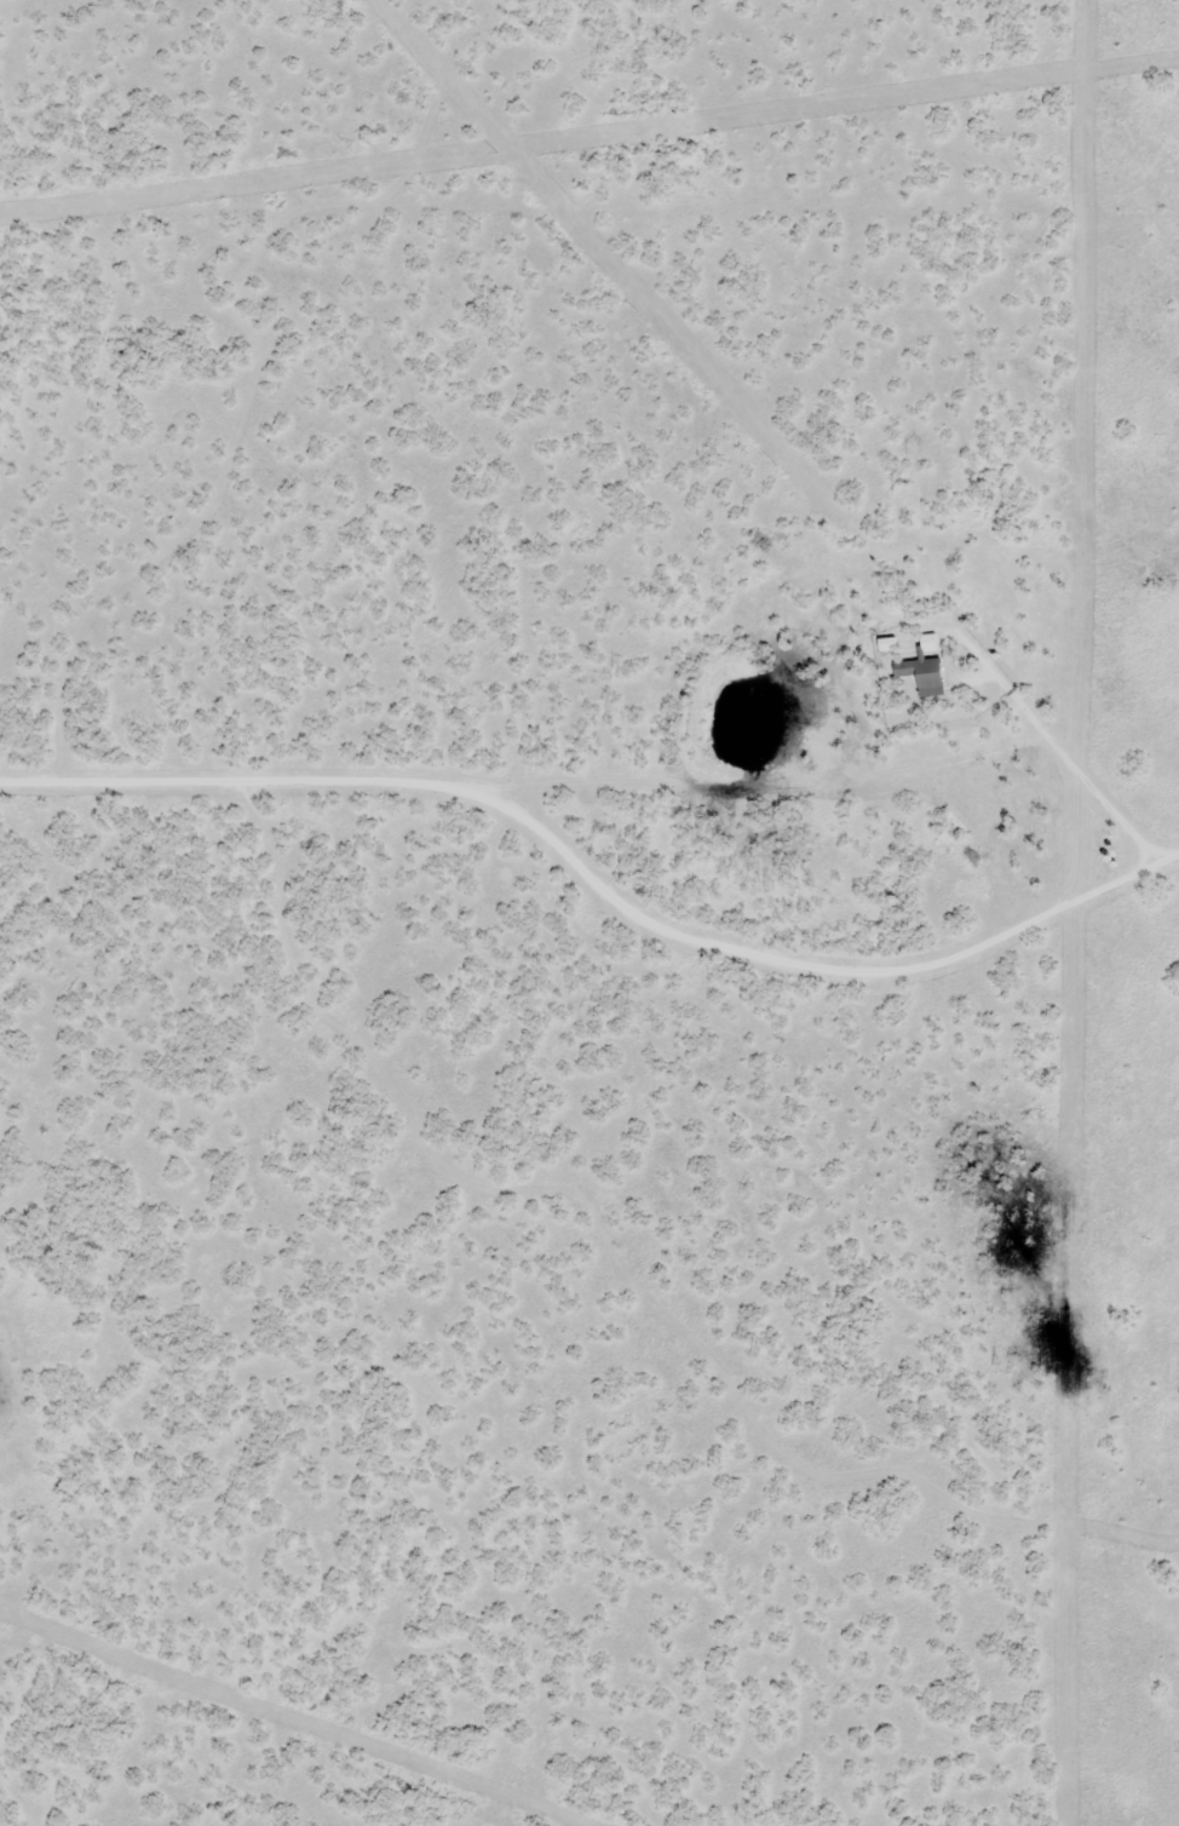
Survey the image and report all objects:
building: (931, 647)
building: (932, 677)

